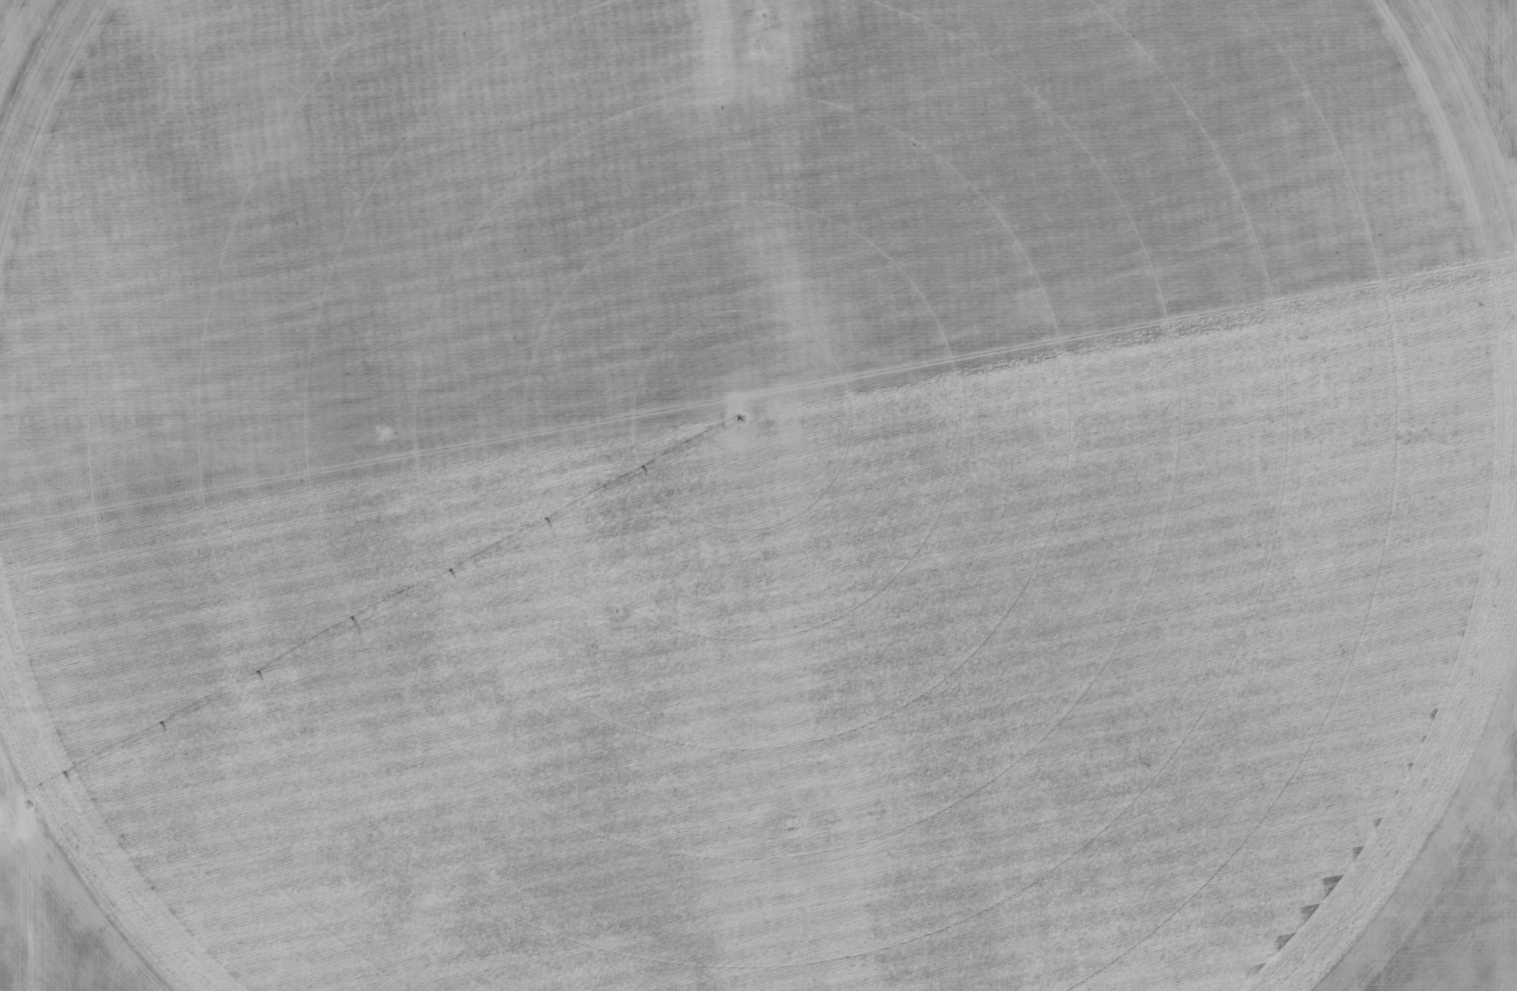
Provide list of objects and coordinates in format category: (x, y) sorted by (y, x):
road: (26, 923)
road: (801, 943)

